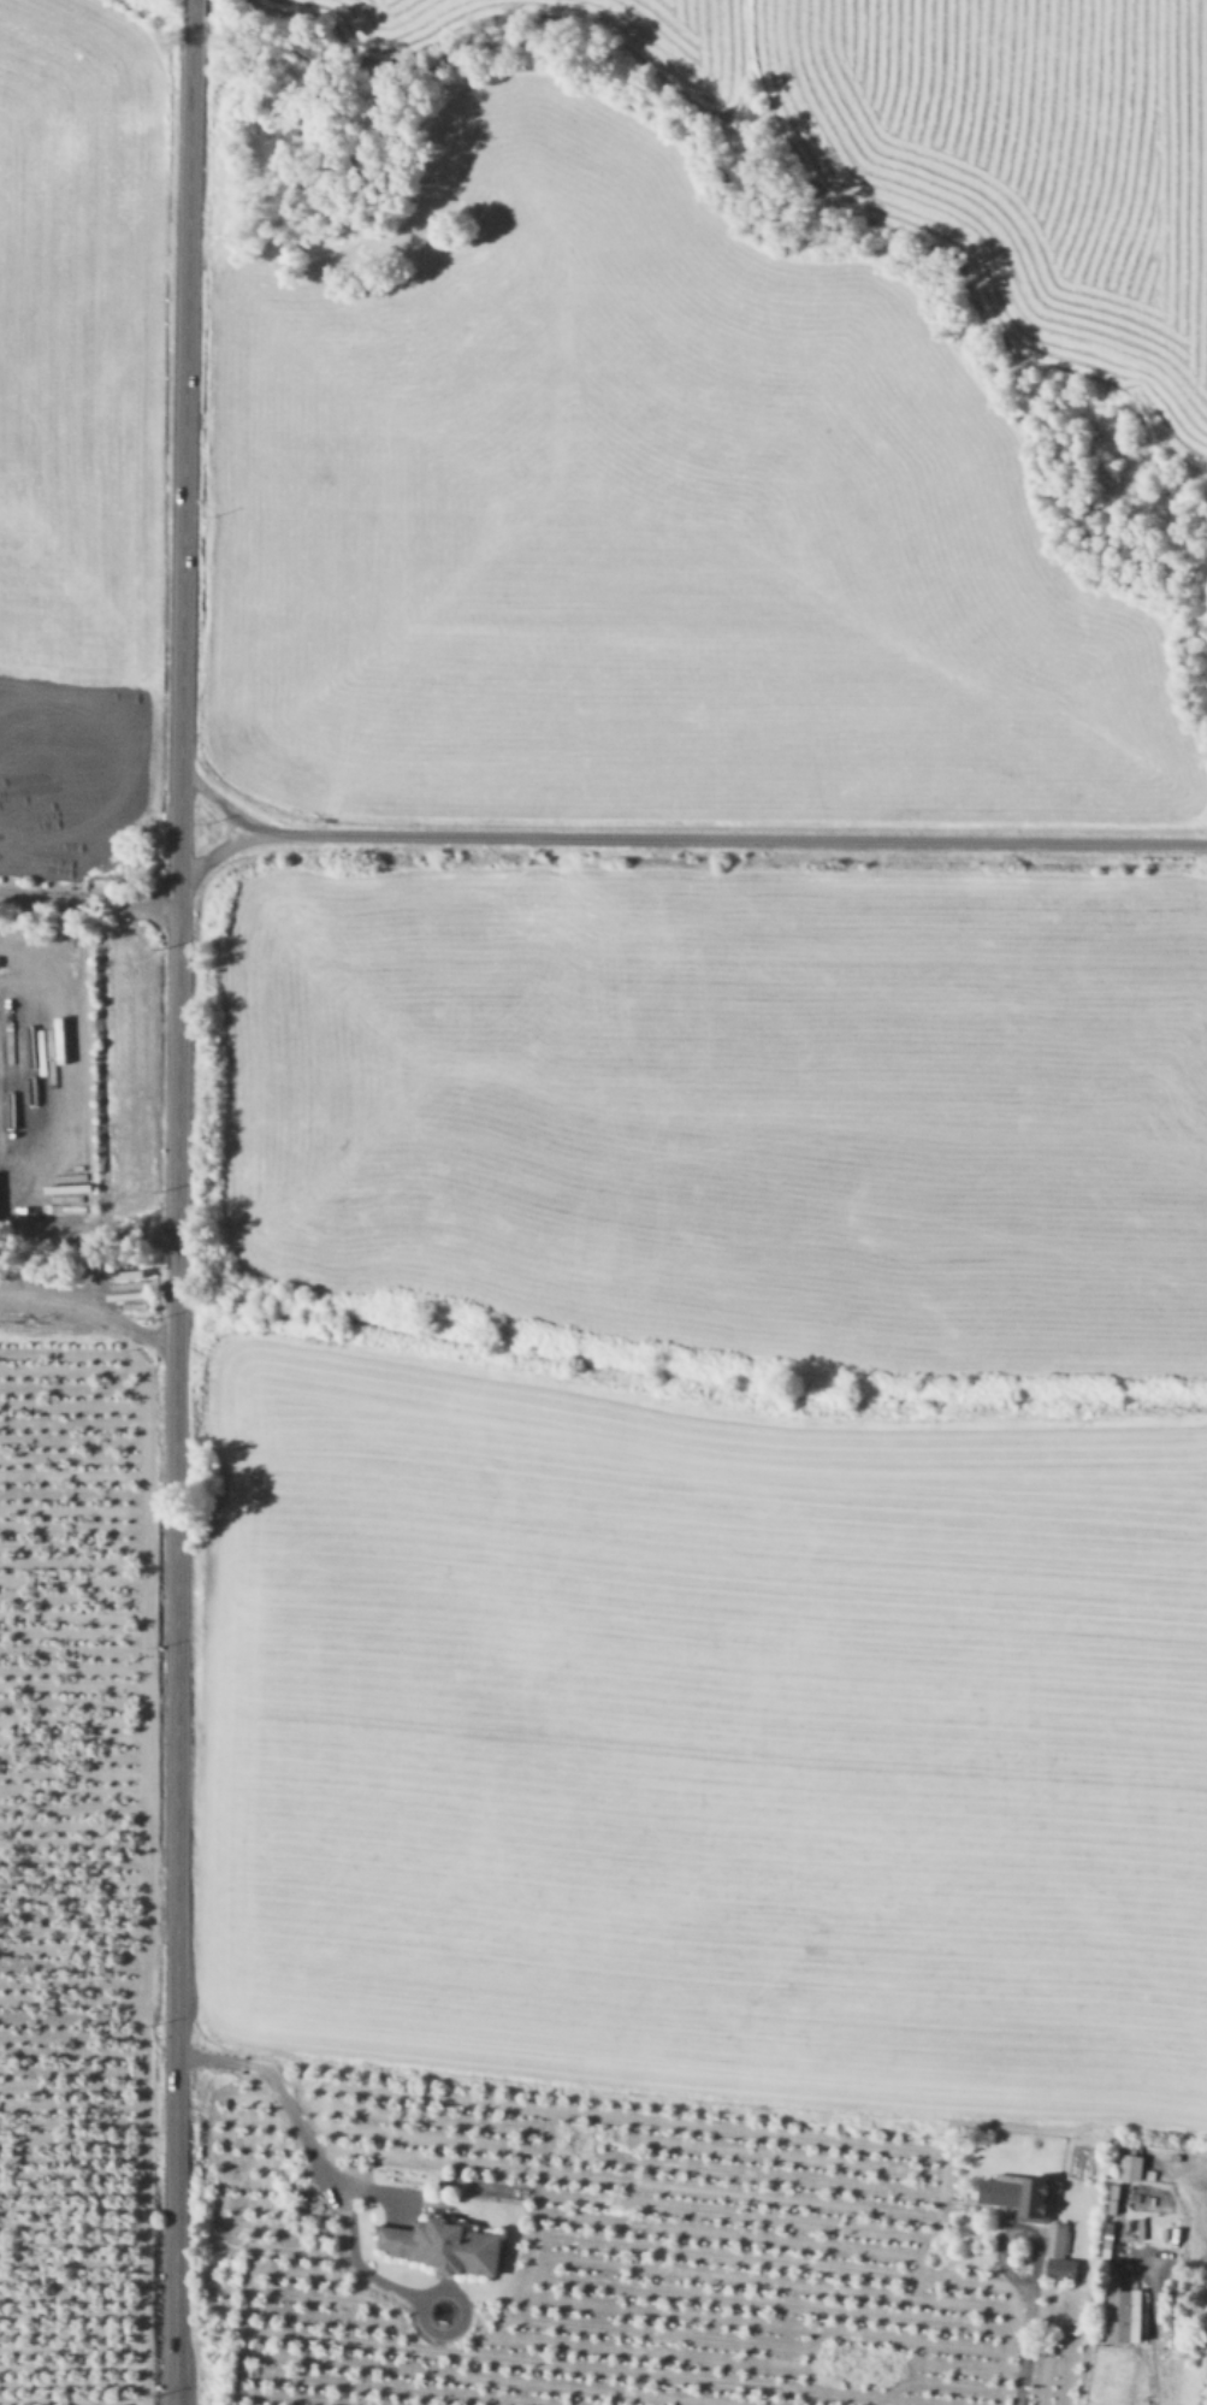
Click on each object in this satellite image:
road: (220, 804)
road: (735, 839)
road: (220, 851)
road: (89, 903)
crop: (662, 1001)
road: (19, 1081)
road: (176, 1201)
road: (90, 1311)
road: (277, 2099)
building: (1132, 2163)
building: (1023, 2193)
building: (448, 2245)
building: (1061, 2253)
building: (1126, 2314)
road: (1022, 2329)
road: (1147, 2350)
crop: (1197, 2360)

